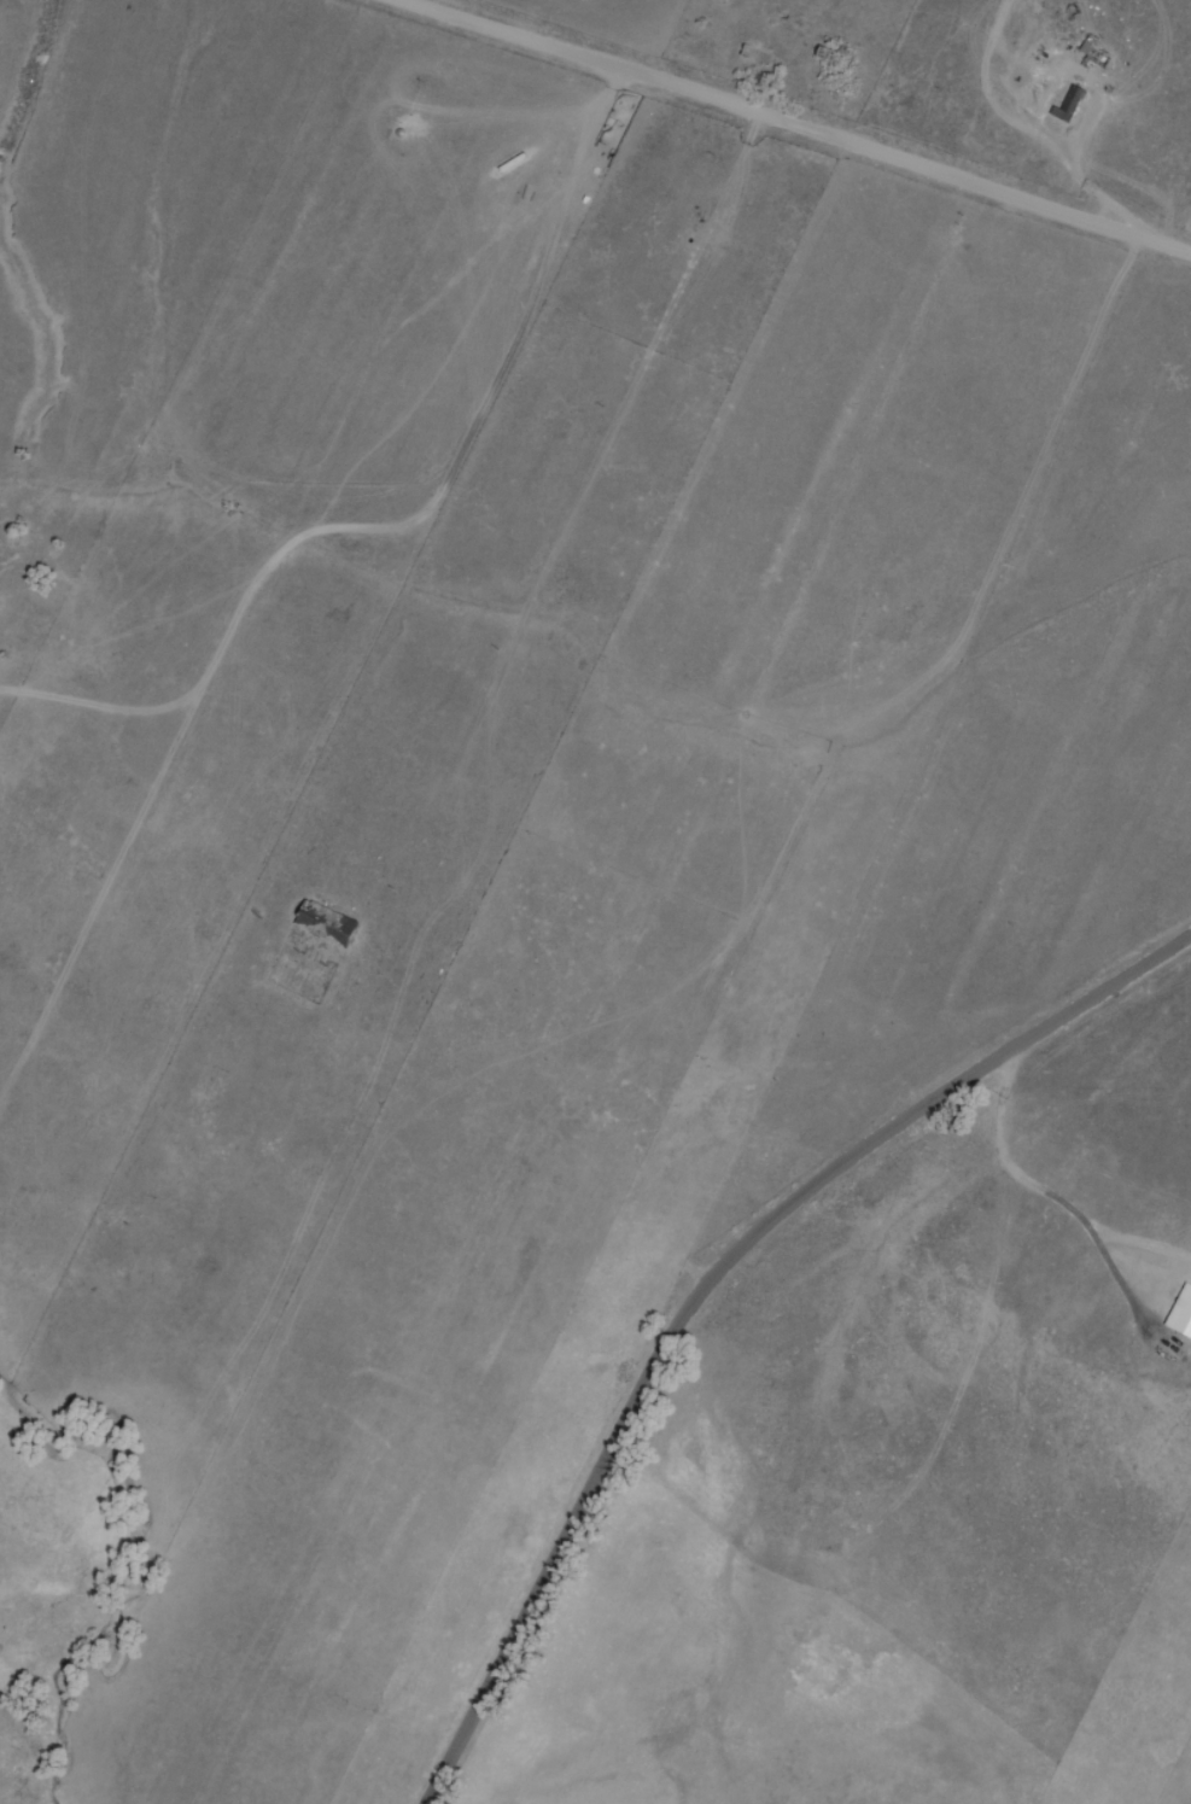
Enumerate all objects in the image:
road: (1, 0)
building: (1096, 52)
building: (1068, 104)
road: (780, 115)
road: (1180, 200)
building: (325, 923)
road: (730, 1286)

